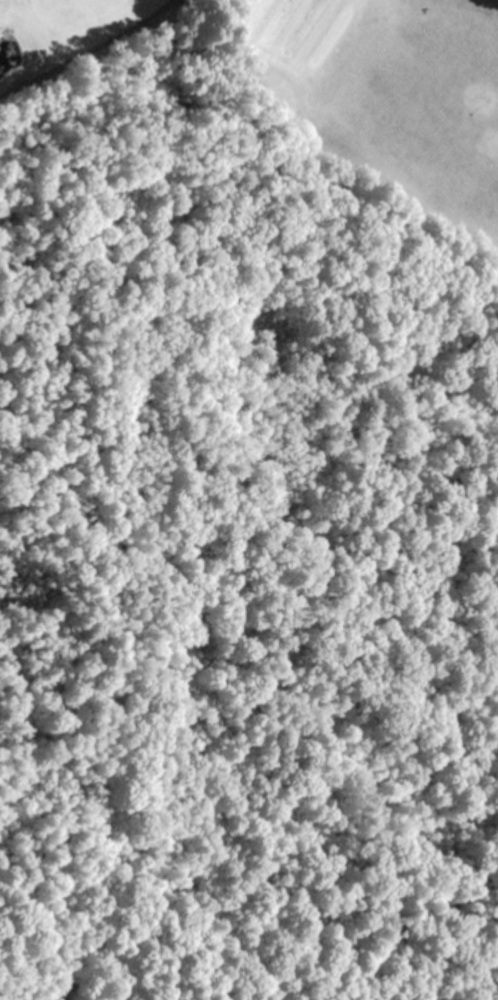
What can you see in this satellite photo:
park: (243, 490)

